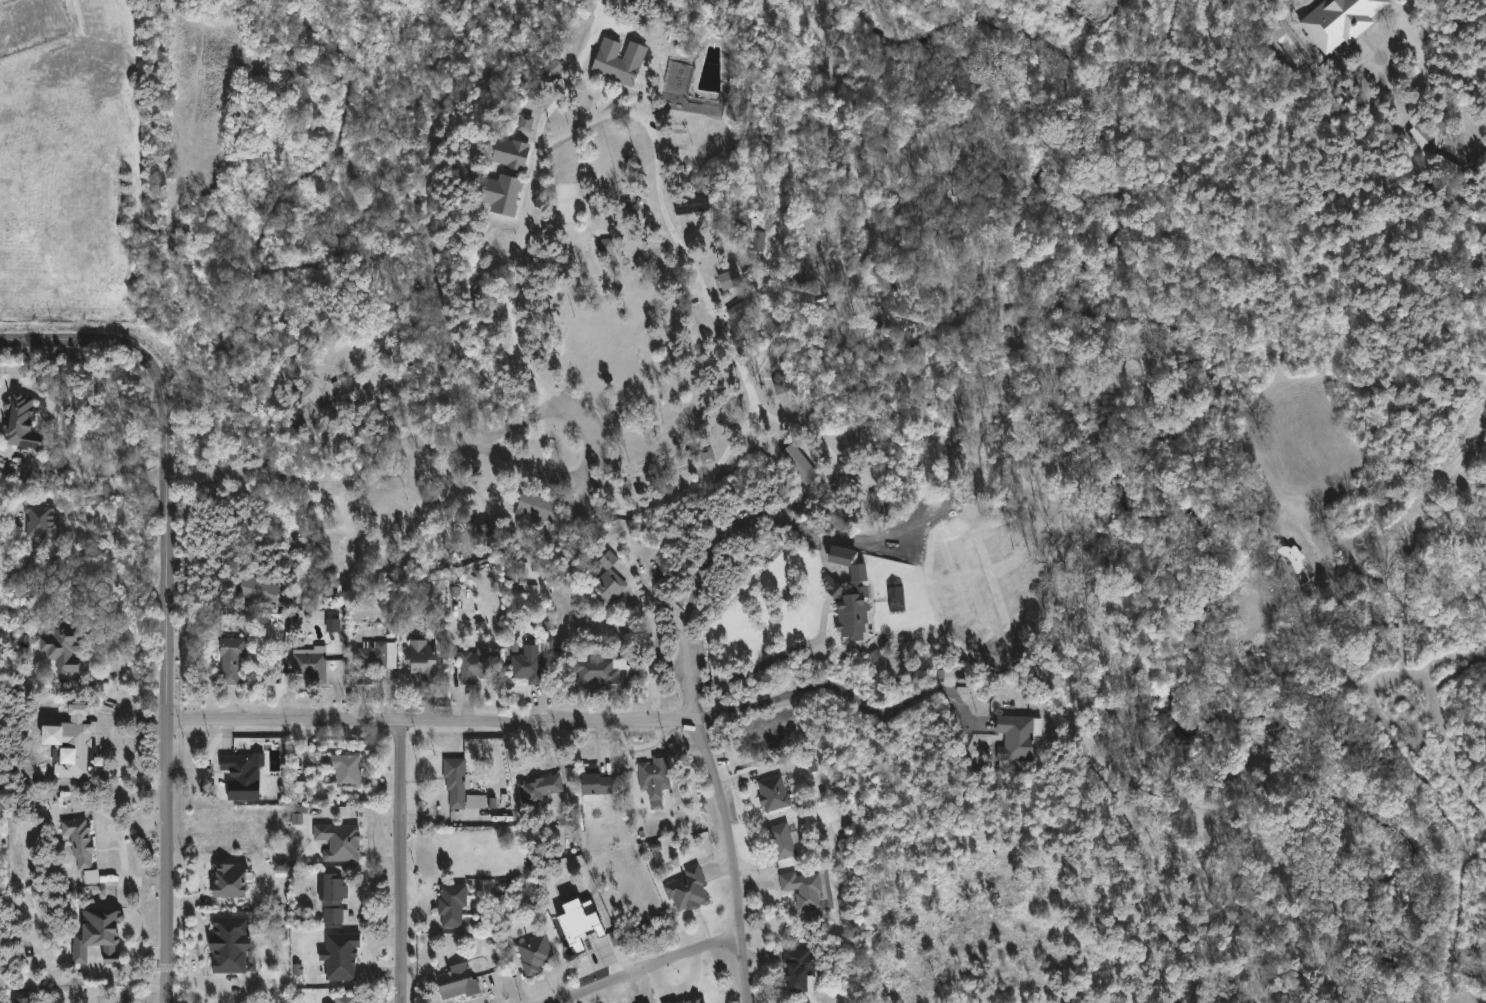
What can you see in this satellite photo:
building: (1335, 19)
road: (1410, 23)
building: (615, 65)
building: (553, 70)
building: (680, 89)
building: (525, 123)
building: (1419, 132)
building: (508, 152)
building: (499, 193)
building: (692, 204)
road: (528, 213)
building: (759, 241)
building: (606, 247)
building: (1481, 278)
building: (730, 279)
building: (742, 308)
road: (64, 341)
road: (751, 391)
building: (24, 422)
road: (465, 436)
building: (707, 455)
building: (800, 464)
road: (97, 471)
road: (1277, 488)
road: (583, 497)
building: (883, 500)
building: (530, 505)
road: (740, 511)
building: (42, 520)
building: (484, 533)
building: (841, 556)
building: (607, 580)
building: (262, 590)
building: (850, 603)
building: (334, 625)
road: (652, 644)
building: (65, 645)
building: (236, 659)
building: (374, 659)
building: (420, 660)
building: (526, 664)
road: (168, 666)
building: (313, 666)
building: (477, 666)
road: (755, 669)
building: (598, 670)
road: (686, 675)
road: (842, 690)
road: (428, 723)
building: (1015, 737)
building: (243, 769)
building: (346, 769)
building: (653, 777)
building: (454, 780)
building: (592, 784)
building: (538, 788)
building: (772, 793)
building: (476, 802)
building: (297, 816)
building: (83, 841)
building: (339, 841)
building: (781, 841)
road: (733, 858)
road: (399, 863)
building: (92, 876)
building: (234, 878)
building: (334, 888)
building: (687, 888)
building: (802, 888)
building: (450, 904)
building: (338, 914)
building: (101, 935)
building: (233, 943)
building: (534, 953)
building: (338, 955)
road: (648, 968)
building: (797, 968)
building: (456, 983)
building: (344, 999)
building: (693, 999)
building: (23, 1000)

